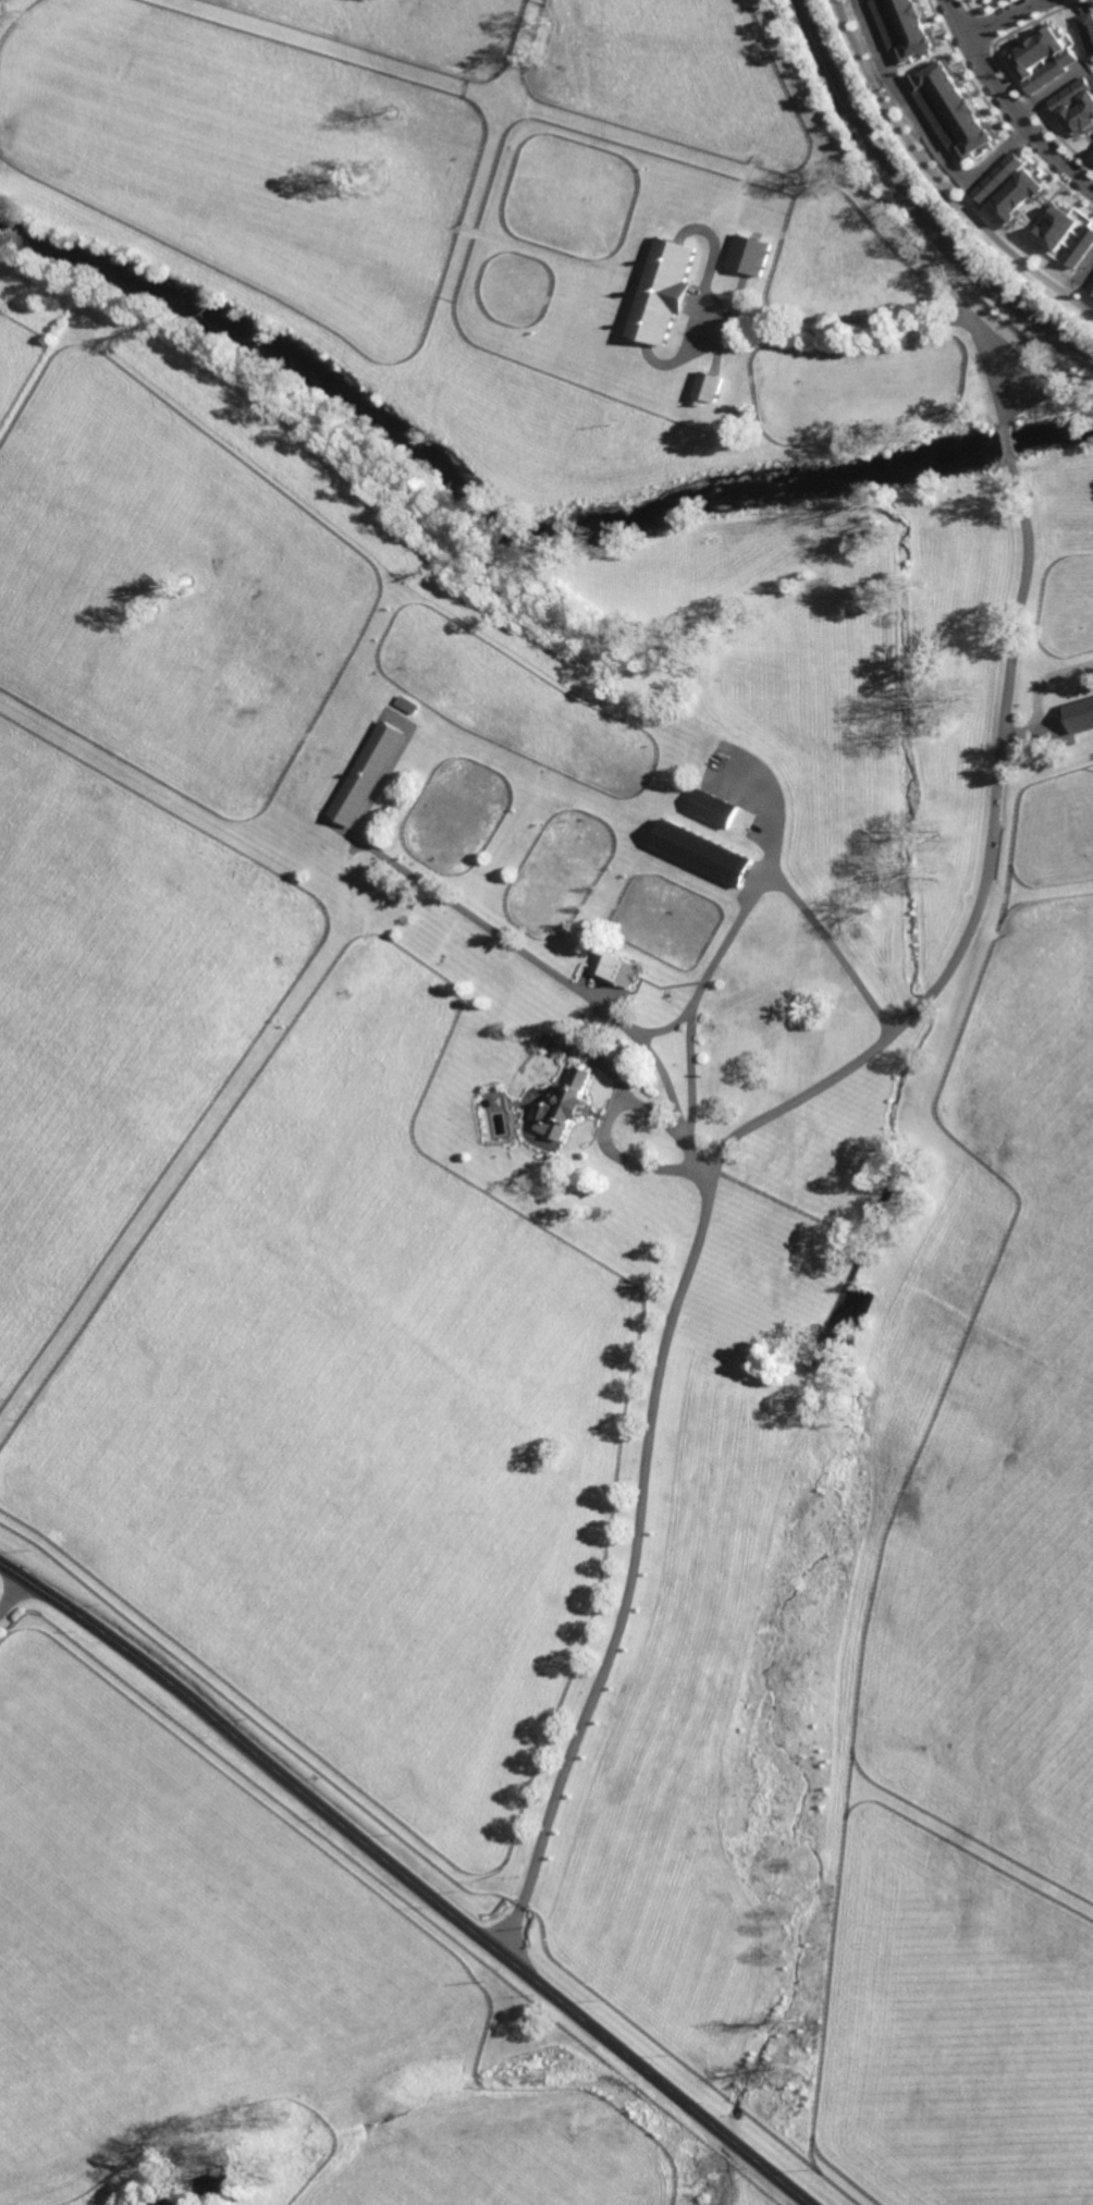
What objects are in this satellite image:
road: (998, 16)
building: (906, 28)
building: (1086, 32)
building: (1041, 59)
road: (1007, 105)
building: (957, 107)
building: (940, 118)
road: (924, 126)
building: (1092, 156)
building: (999, 177)
road: (936, 180)
building: (1019, 197)
railway: (914, 206)
building: (1058, 228)
building: (1080, 247)
building: (747, 254)
building: (661, 290)
building: (1092, 291)
road: (891, 329)
building: (705, 388)
road: (1008, 443)
building: (409, 702)
building: (1081, 713)
building: (369, 771)
building: (716, 806)
building: (705, 852)
road: (514, 944)
road: (722, 951)
building: (622, 969)
building: (712, 1026)
building: (555, 1041)
road: (690, 1078)
building: (496, 1102)
building: (564, 1107)
road: (605, 1132)
road: (717, 1160)
building: (814, 1359)
road: (10, 1596)
road: (407, 1878)
building: (233, 2168)

